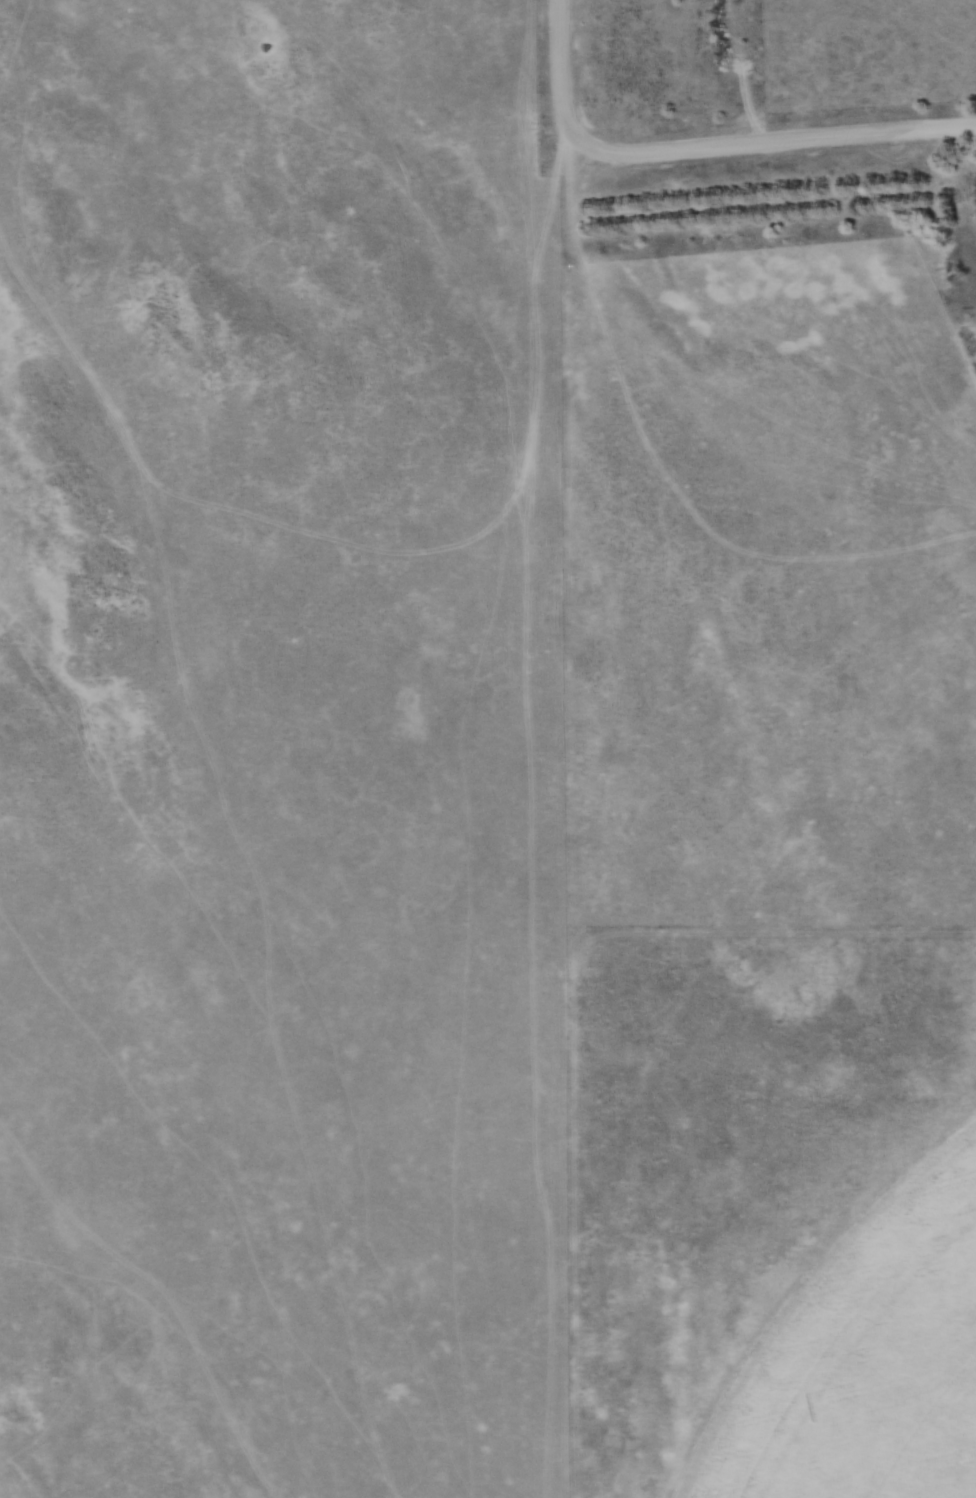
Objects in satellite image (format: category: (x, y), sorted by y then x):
road: (559, 60)
road: (764, 142)
crop: (868, 1363)

